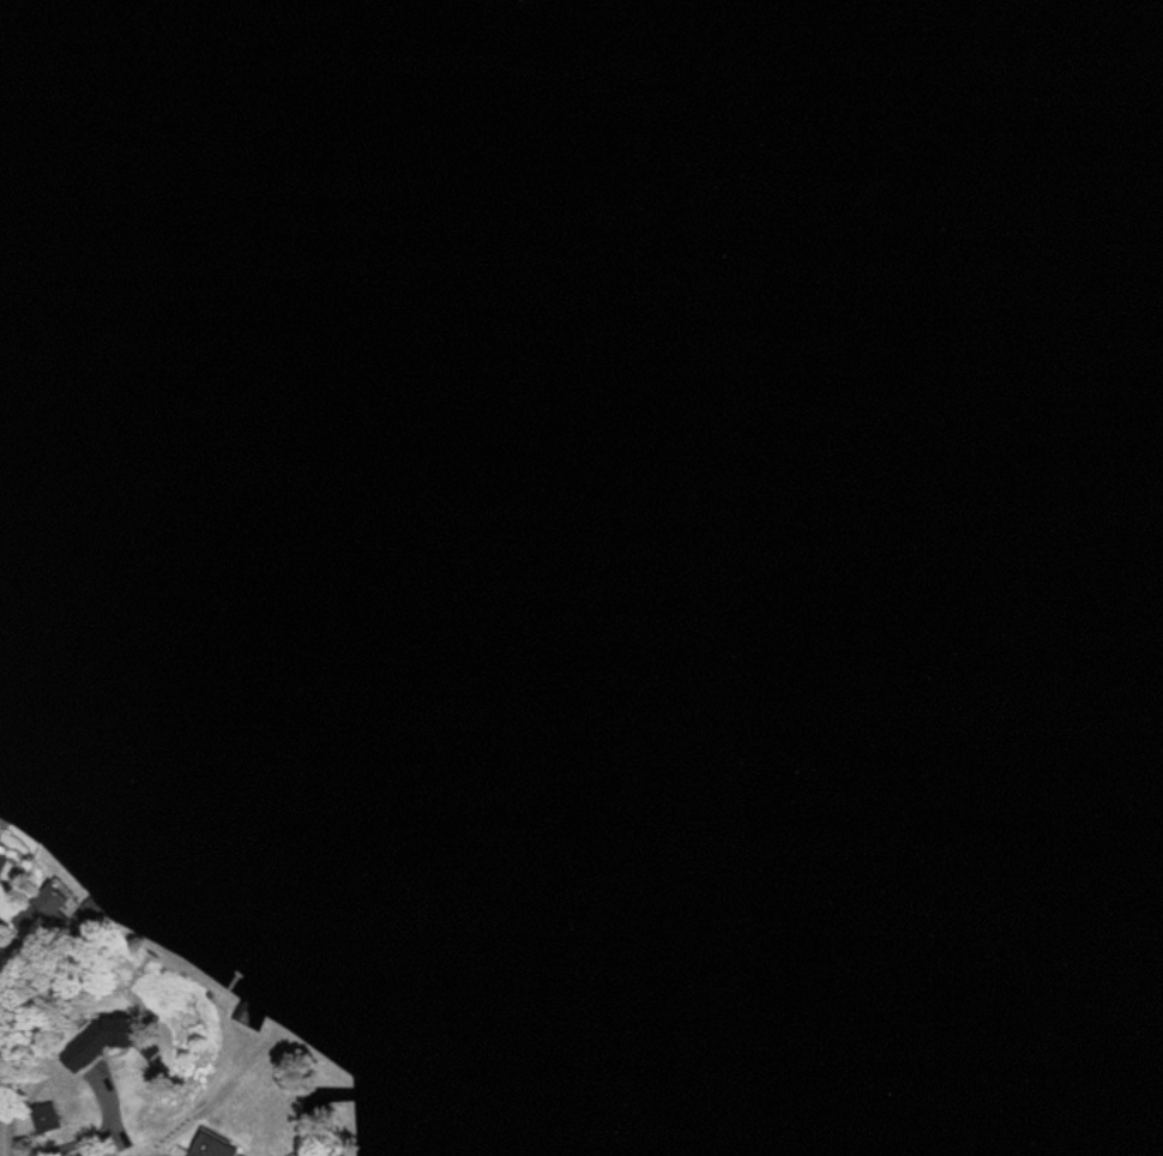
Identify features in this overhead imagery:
road: (8, 1070)
building: (52, 1121)
building: (315, 1125)
building: (222, 1146)

